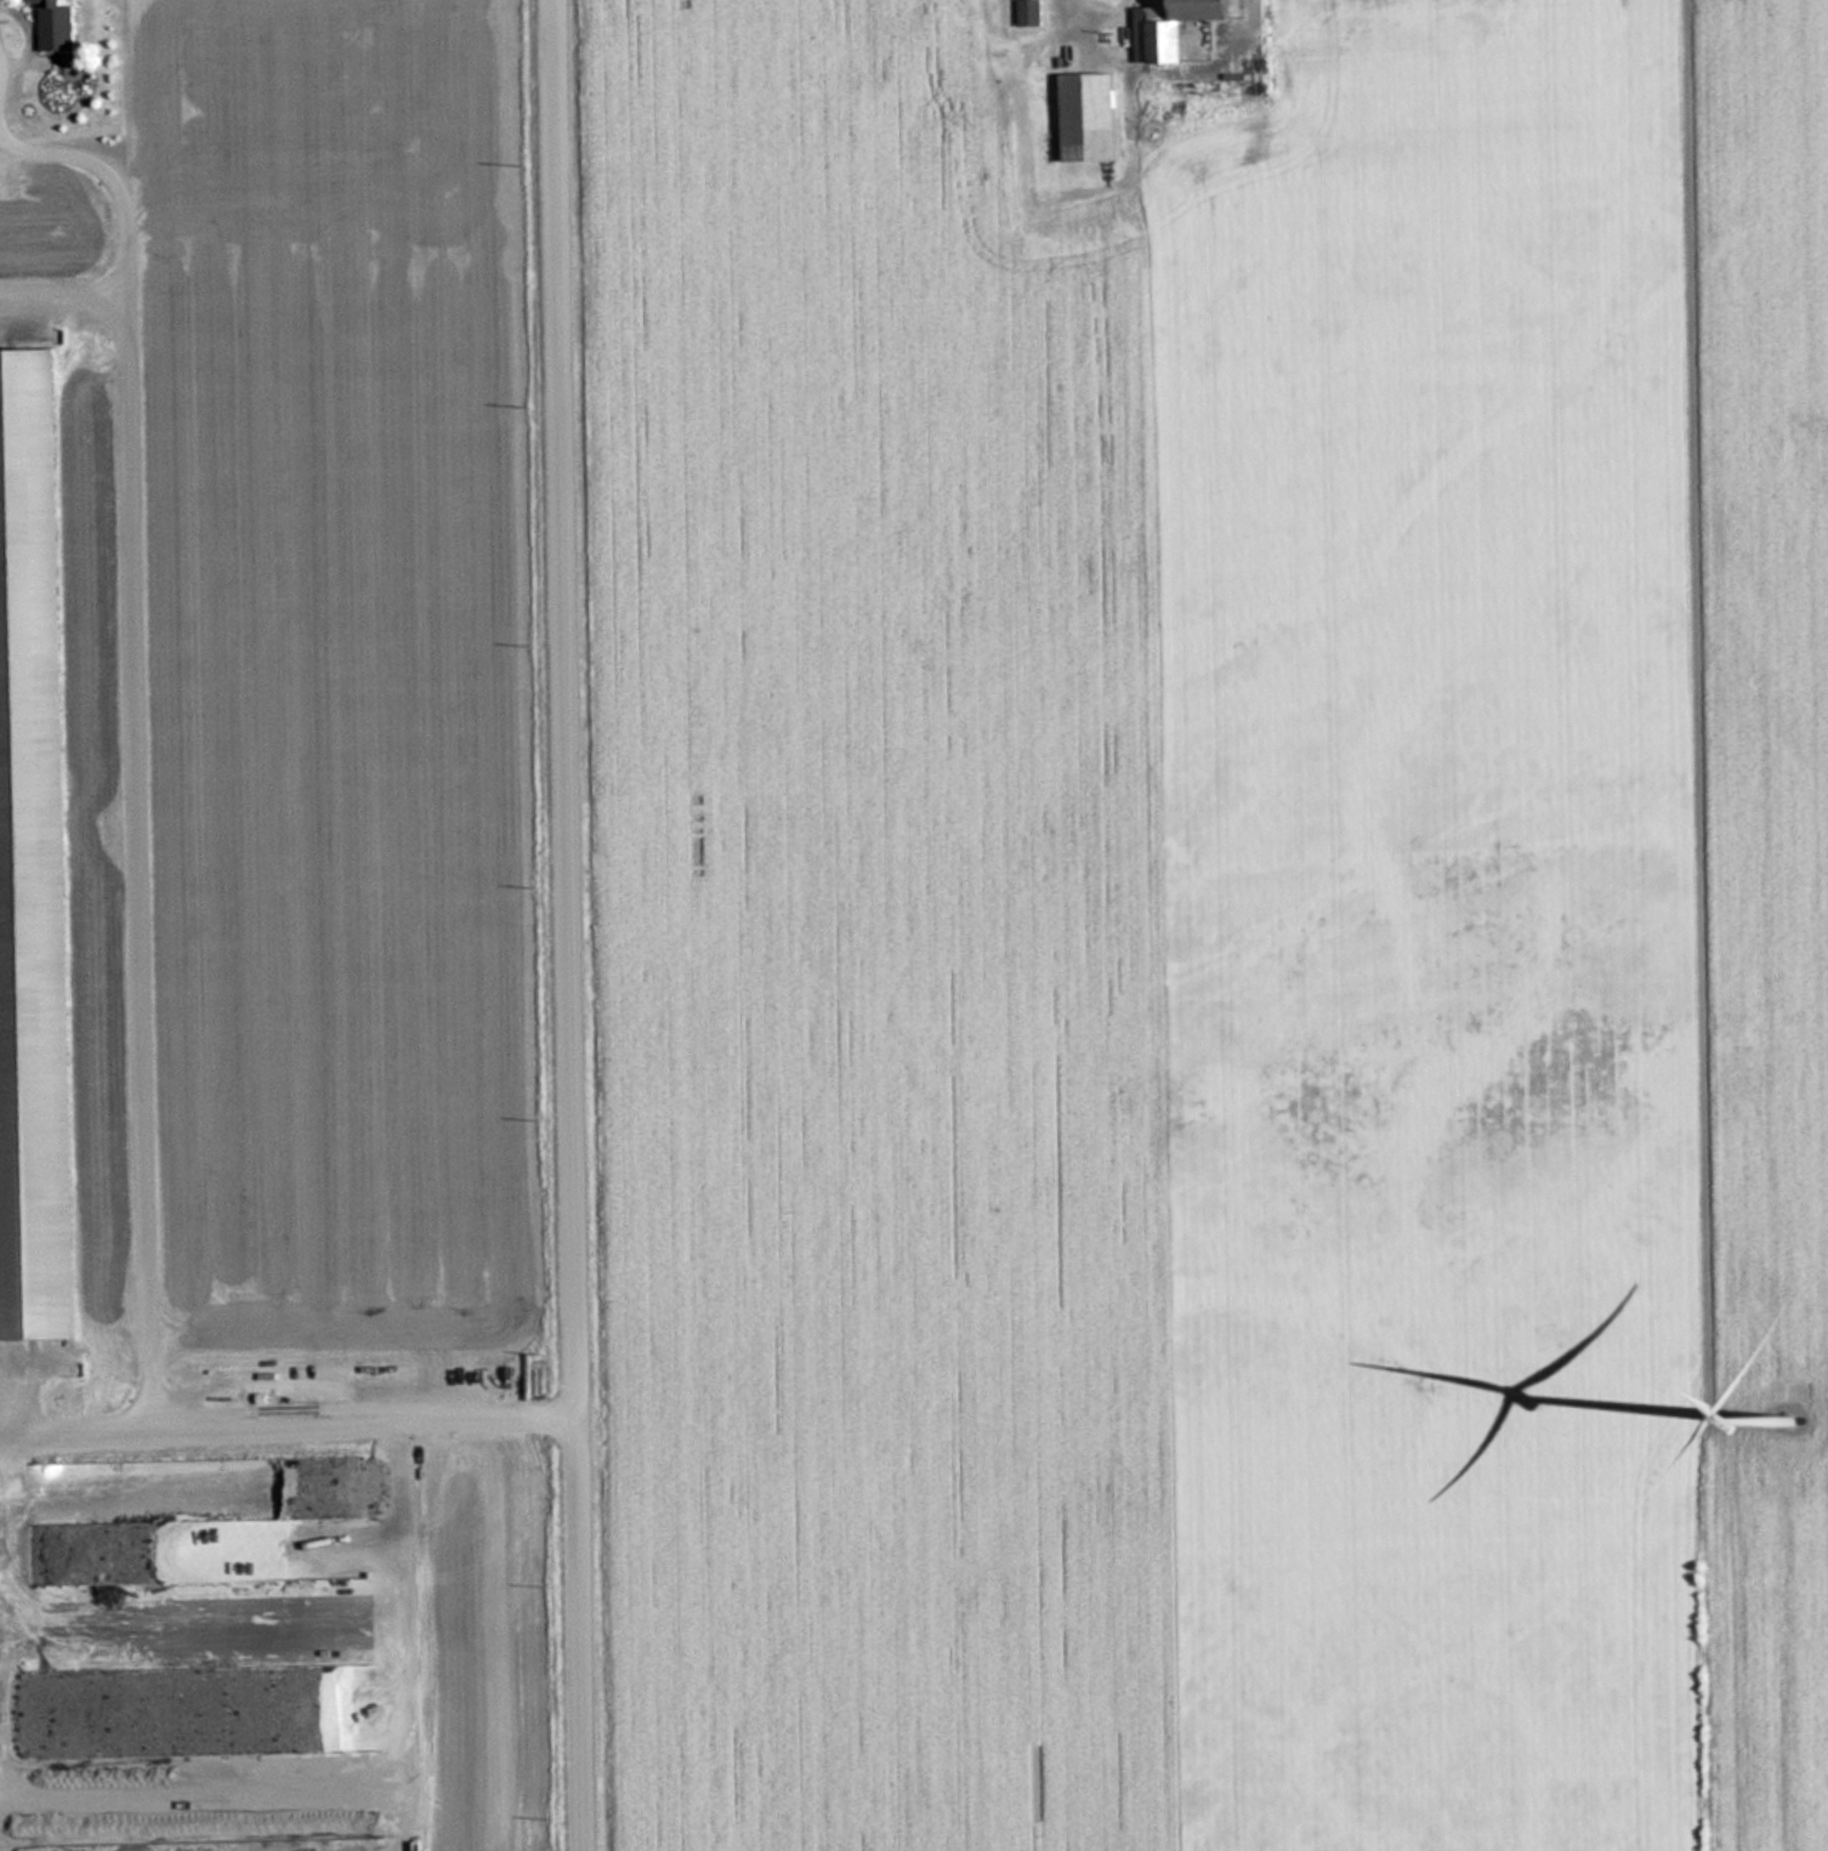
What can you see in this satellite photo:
building: (1032, 12)
building: (57, 25)
building: (1176, 25)
building: (1091, 115)
road: (1692, 717)
building: (34, 867)
road: (579, 925)
wind turbine: (1784, 1398)
building: (90, 1537)

